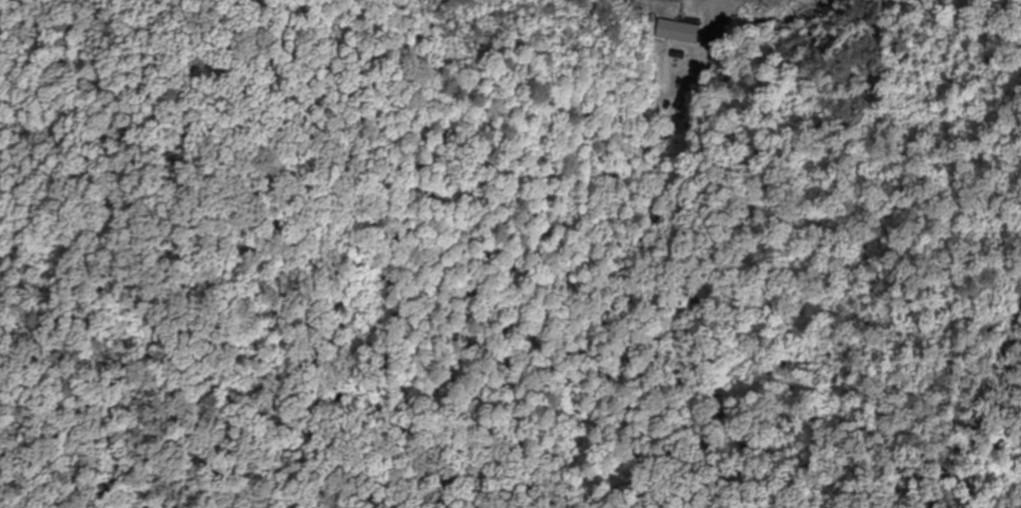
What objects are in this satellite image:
building: (678, 32)

